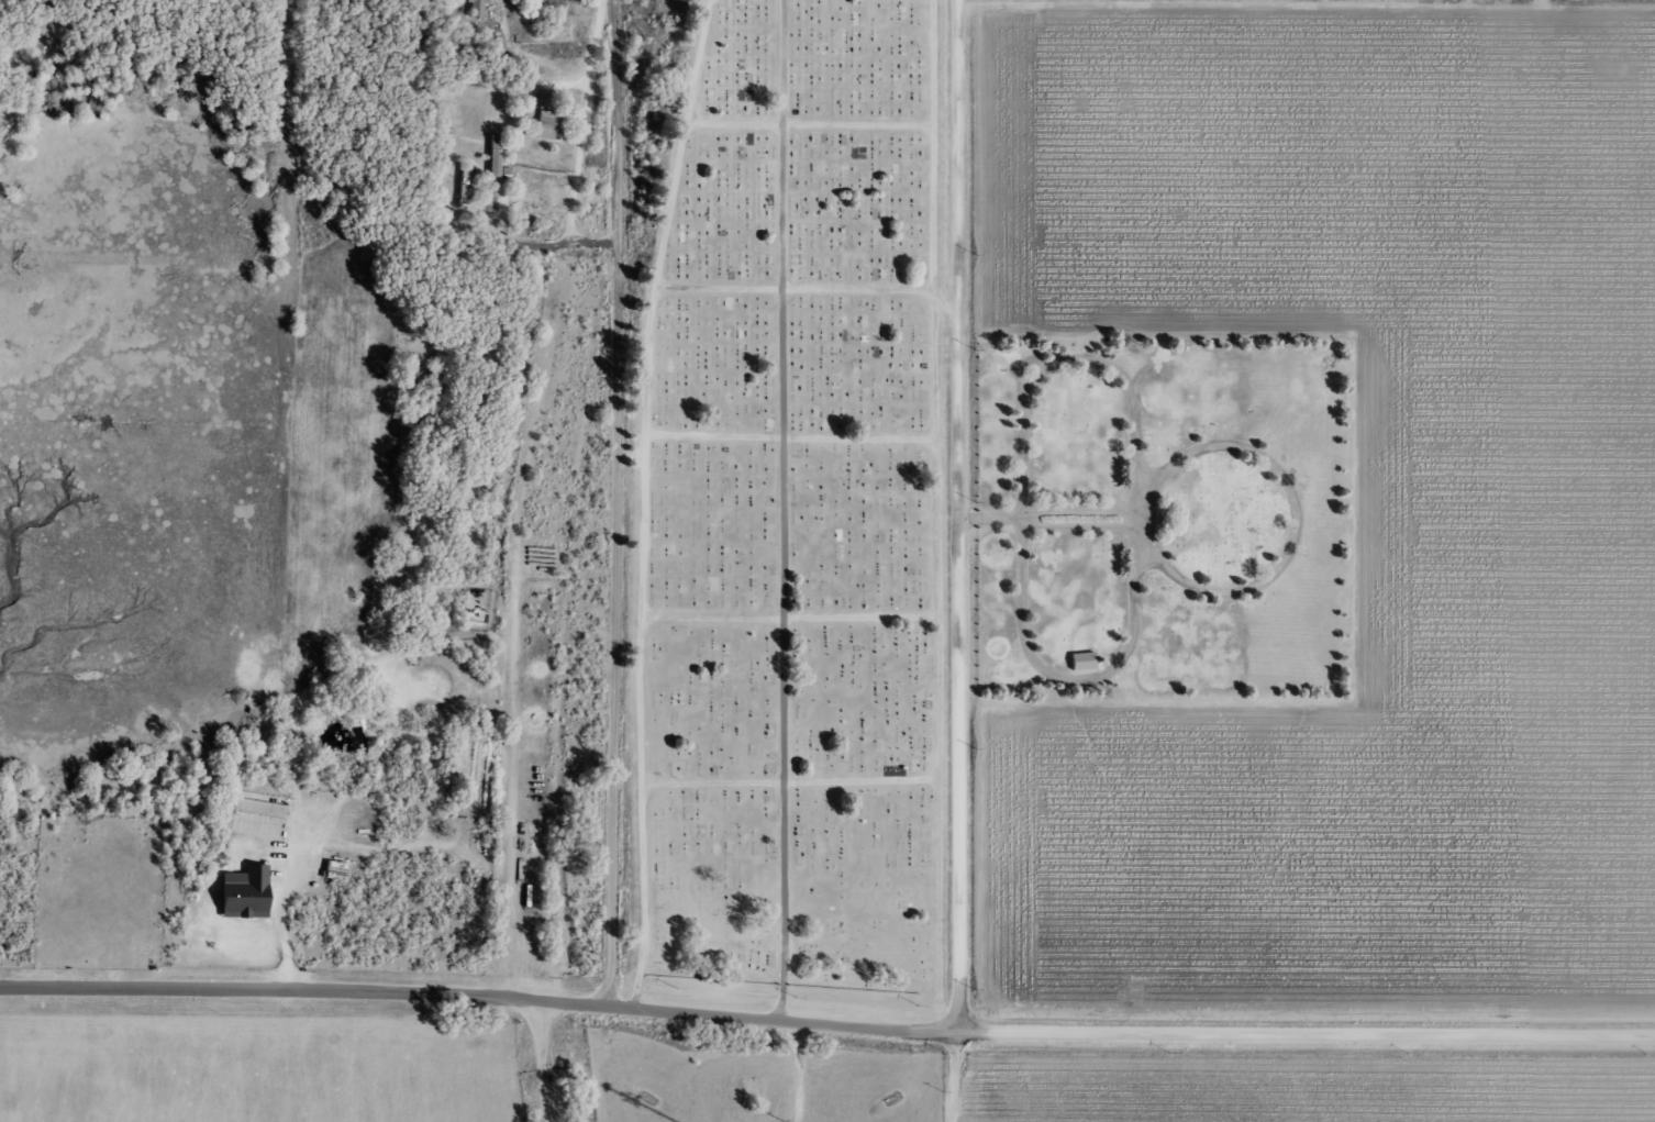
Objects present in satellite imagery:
building: (475, 8)
road: (603, 8)
building: (548, 125)
road: (819, 131)
building: (492, 156)
road: (942, 162)
road: (803, 296)
road: (808, 443)
road: (657, 504)
park: (796, 509)
road: (792, 511)
road: (1096, 513)
road: (615, 514)
road: (959, 515)
road: (998, 523)
park: (1171, 523)
road: (1096, 533)
railway: (578, 557)
road: (1263, 595)
road: (808, 624)
building: (1079, 662)
building: (1095, 663)
road: (1071, 684)
road: (807, 788)
building: (259, 808)
park: (101, 892)
building: (241, 893)
road: (826, 1024)
road: (958, 1077)

